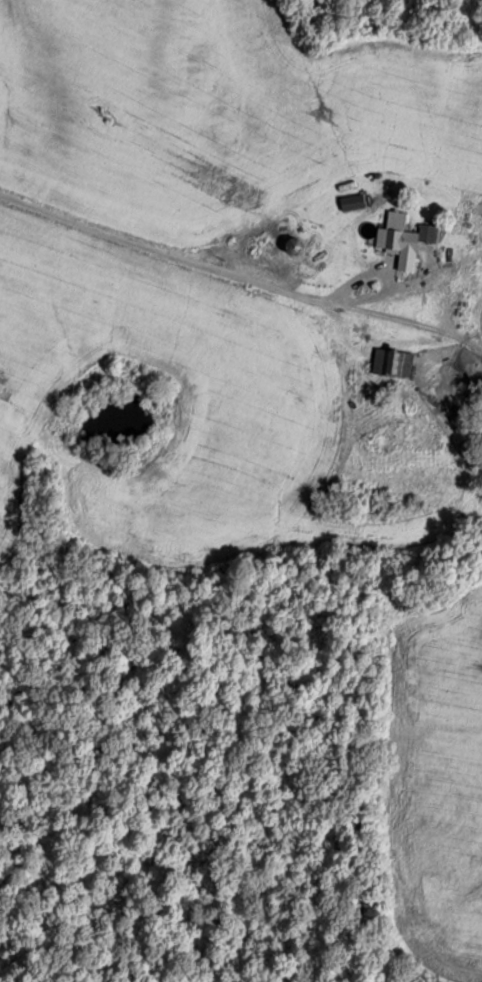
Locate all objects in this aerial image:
building: (389, 195)
building: (432, 231)
building: (391, 239)
road: (178, 288)
building: (391, 362)

